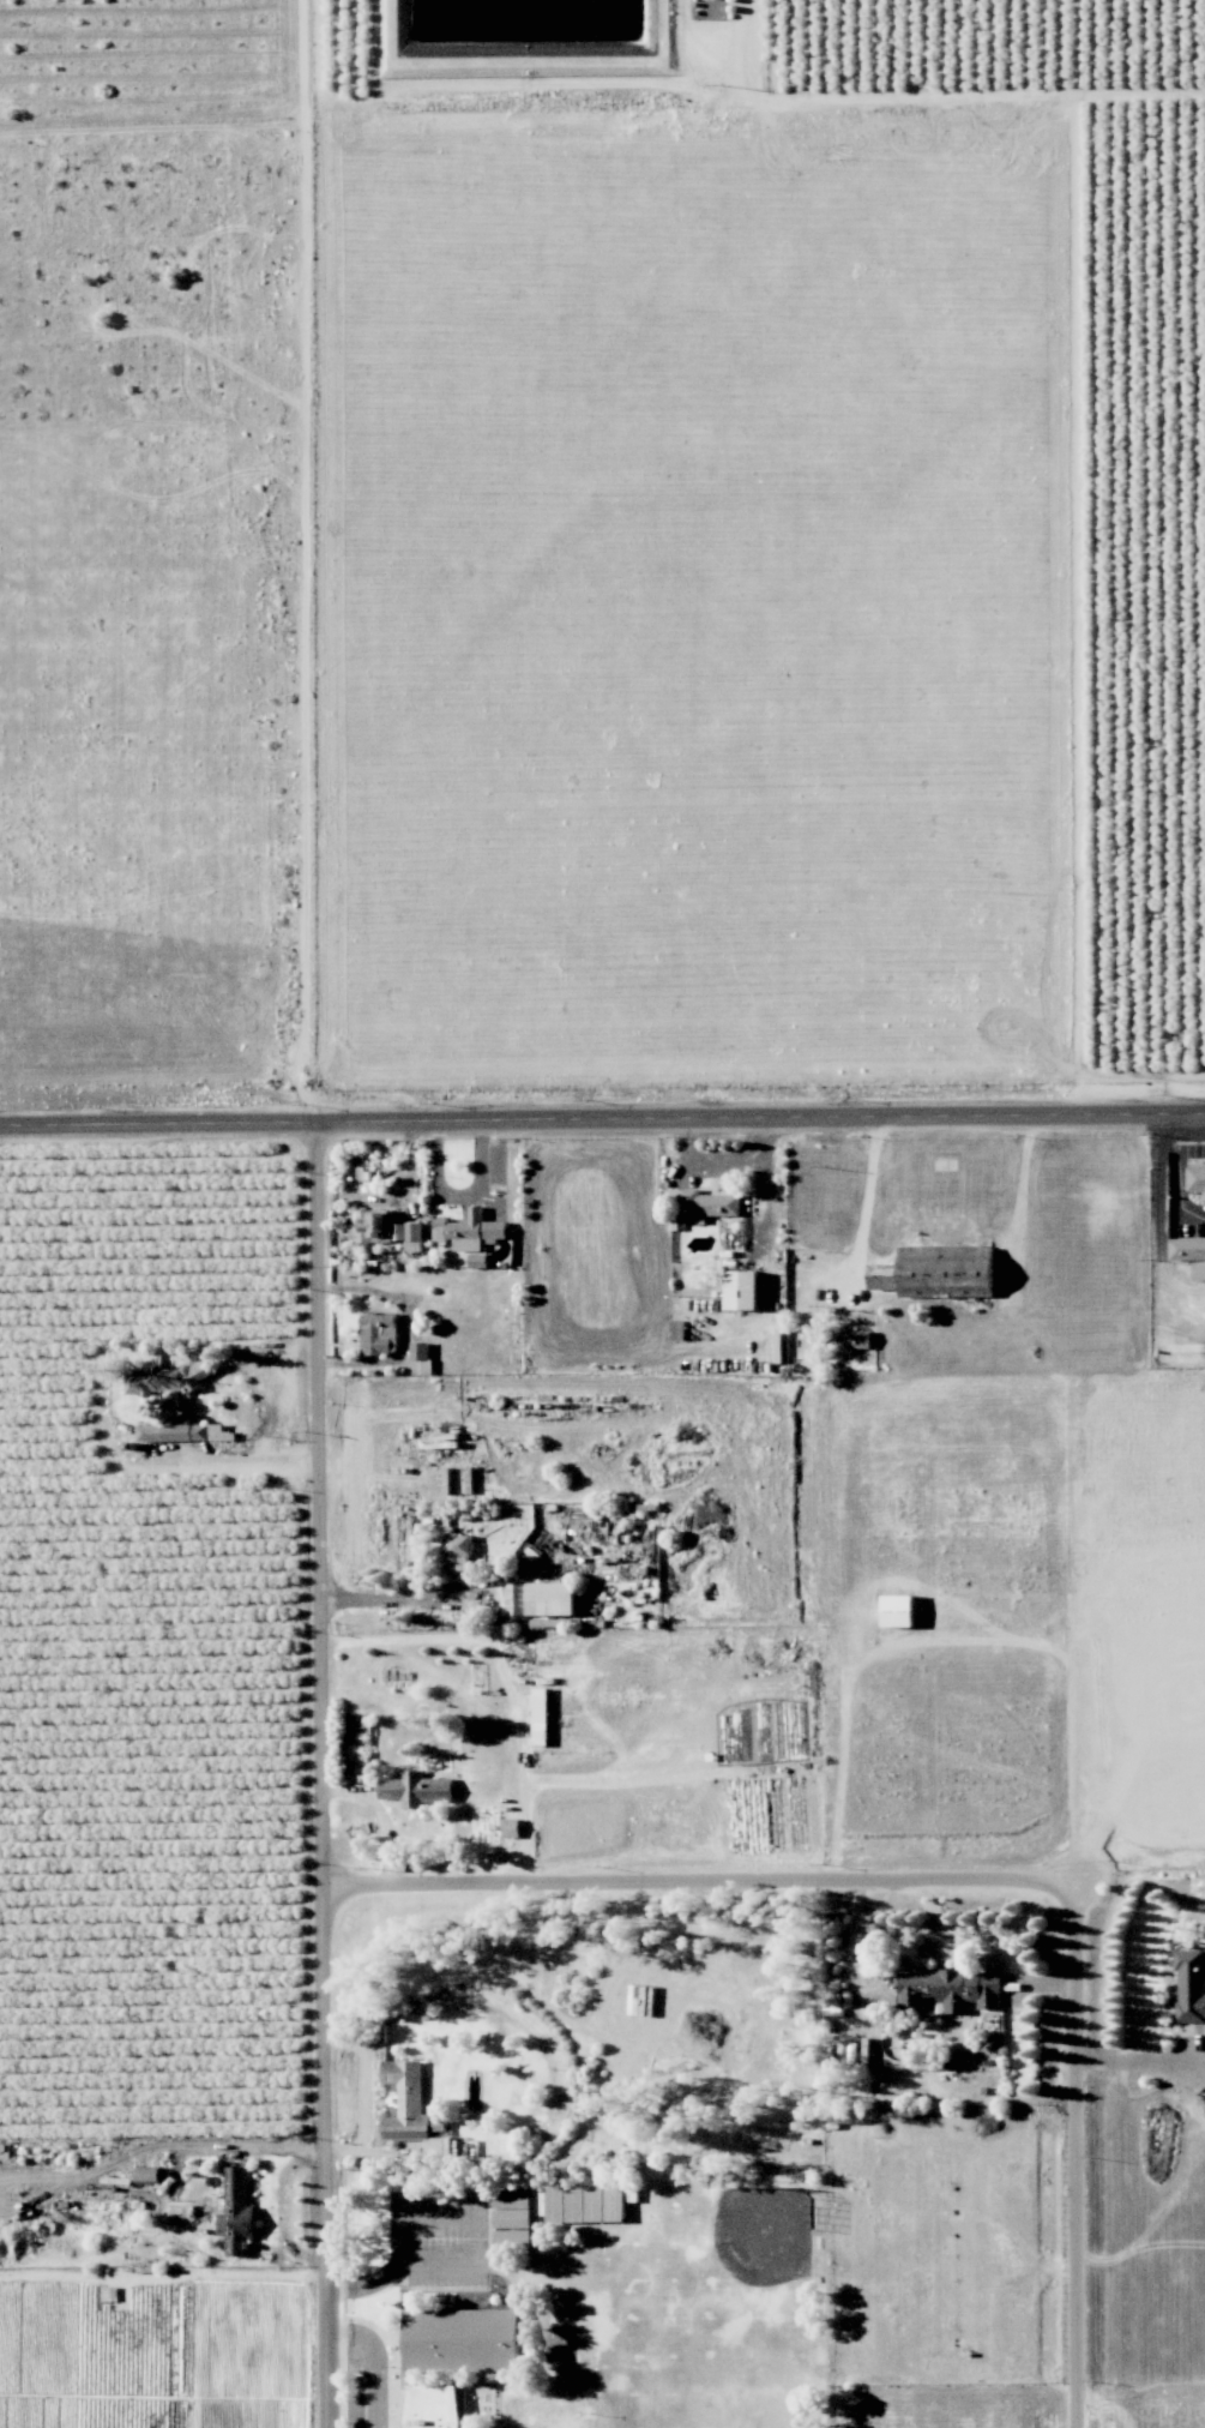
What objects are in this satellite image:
road: (311, 561)
road: (1183, 1114)
road: (582, 1120)
road: (1163, 1149)
road: (727, 1162)
road: (1177, 1170)
road: (462, 1196)
road: (869, 1200)
building: (705, 1202)
building: (382, 1227)
building: (468, 1230)
building: (1187, 1249)
building: (938, 1272)
building: (742, 1290)
building: (379, 1333)
building: (852, 1338)
building: (420, 1351)
building: (165, 1378)
building: (173, 1432)
building: (221, 1432)
road: (247, 1456)
road: (319, 1500)
building: (457, 1547)
road: (388, 1598)
building: (541, 1598)
building: (898, 1610)
building: (416, 1789)
building: (511, 1827)
road: (703, 1873)
building: (1191, 1985)
building: (951, 1989)
road: (1144, 2060)
building: (405, 2101)
road: (1083, 2148)
road: (325, 2151)
building: (149, 2174)
building: (585, 2202)
building: (513, 2207)
building: (237, 2212)
building: (513, 2237)
building: (462, 2339)
road: (376, 2360)
building: (432, 2406)

